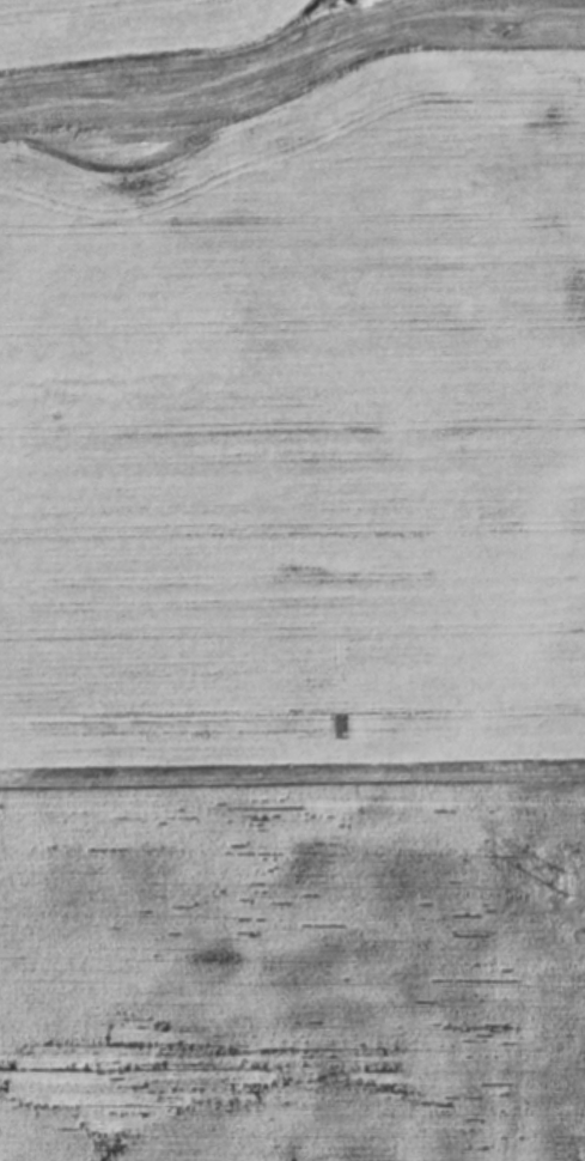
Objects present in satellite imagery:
power tower: (565, 881)

